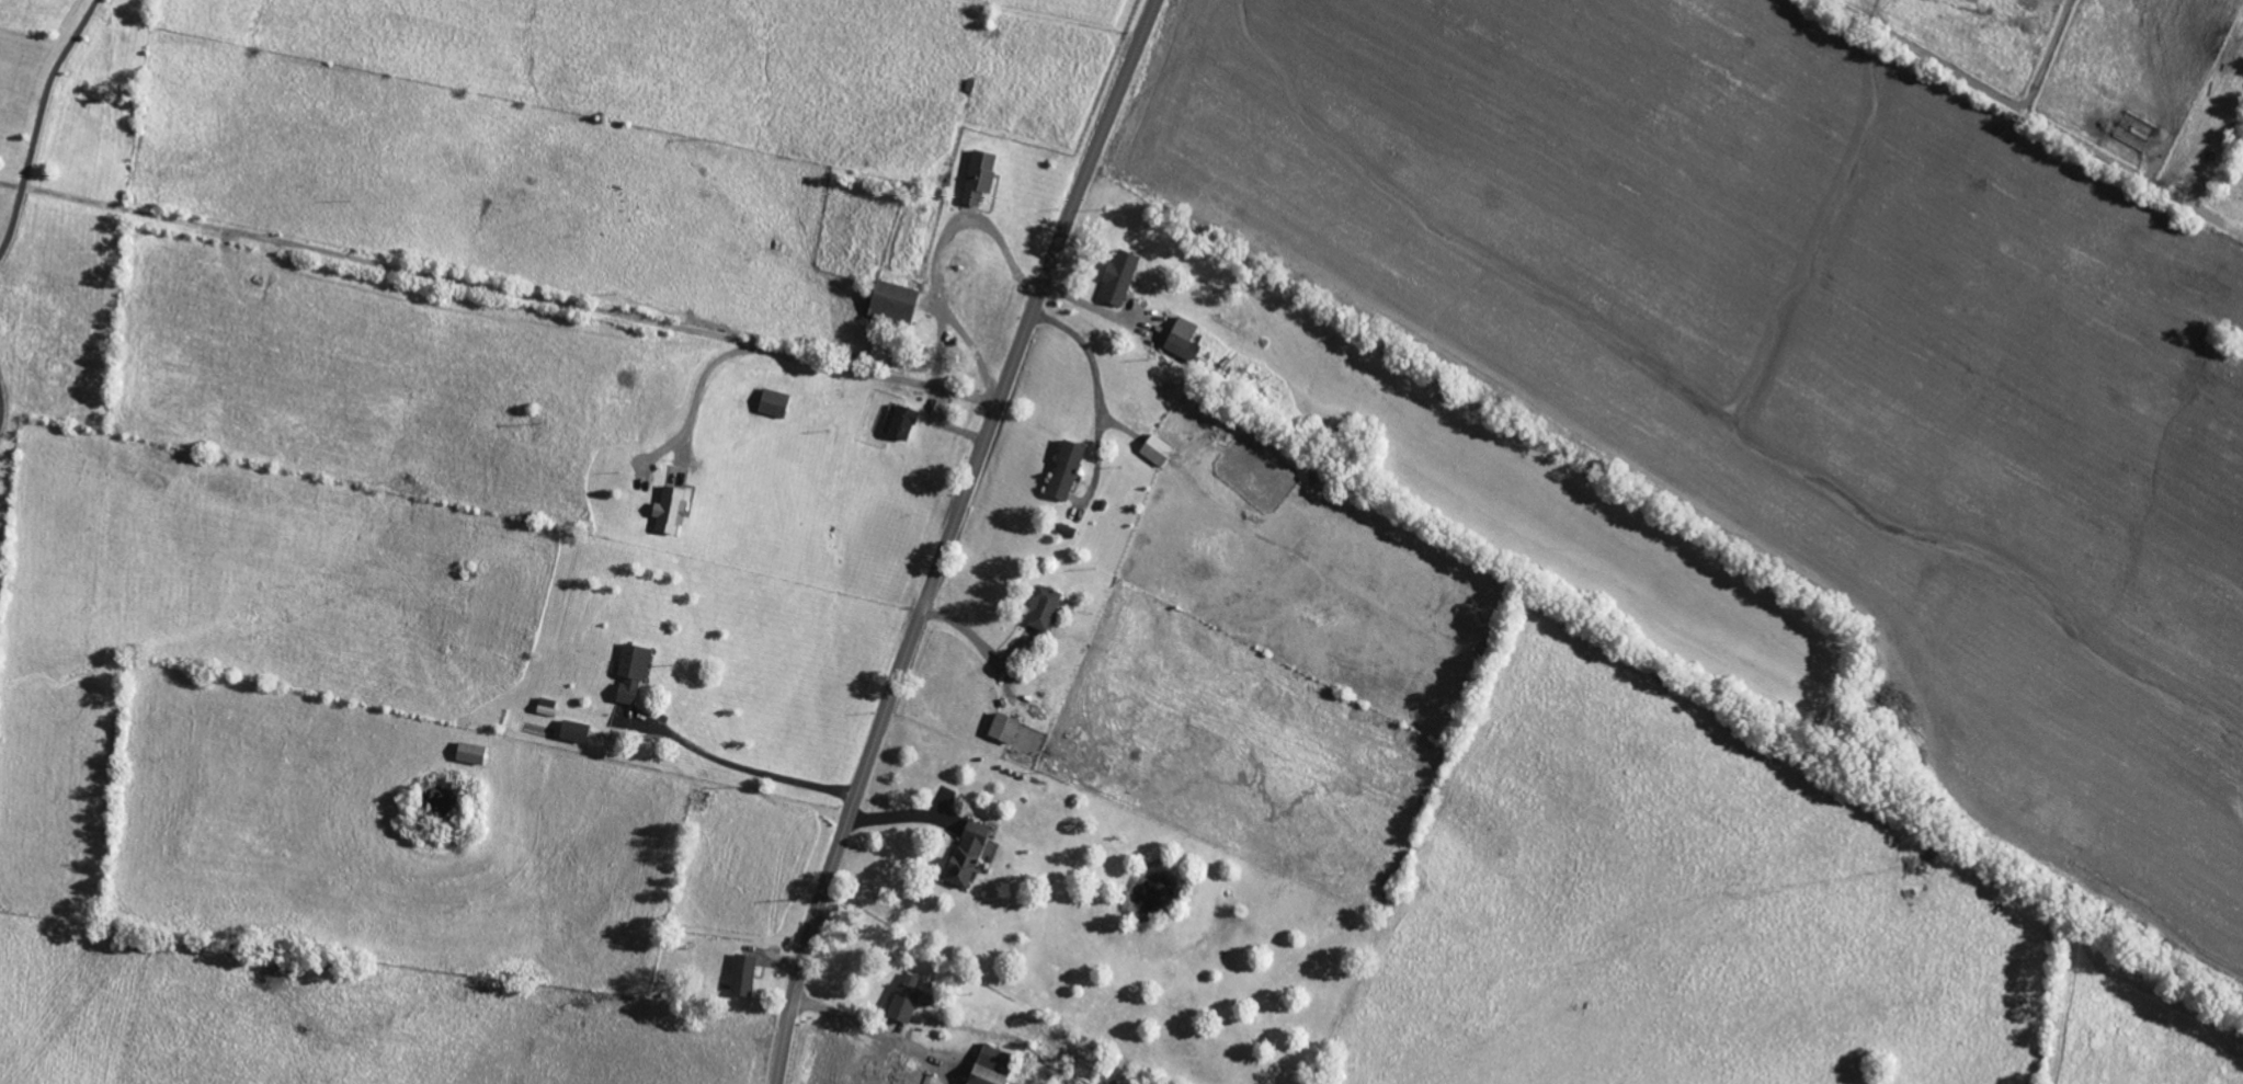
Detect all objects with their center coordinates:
road: (37, 121)
building: (978, 175)
park: (66, 213)
road: (968, 220)
building: (1117, 276)
road: (500, 288)
building: (890, 300)
road: (955, 322)
building: (1181, 339)
road: (1089, 354)
road: (698, 386)
building: (772, 402)
building: (900, 422)
road: (946, 425)
building: (1155, 448)
building: (1063, 469)
building: (668, 510)
road: (949, 536)
building: (1041, 606)
road: (975, 642)
building: (630, 673)
building: (1002, 727)
building: (572, 730)
building: (468, 752)
road: (737, 766)
building: (965, 853)
building: (741, 974)
building: (903, 999)
road: (868, 1029)
building: (987, 1065)

